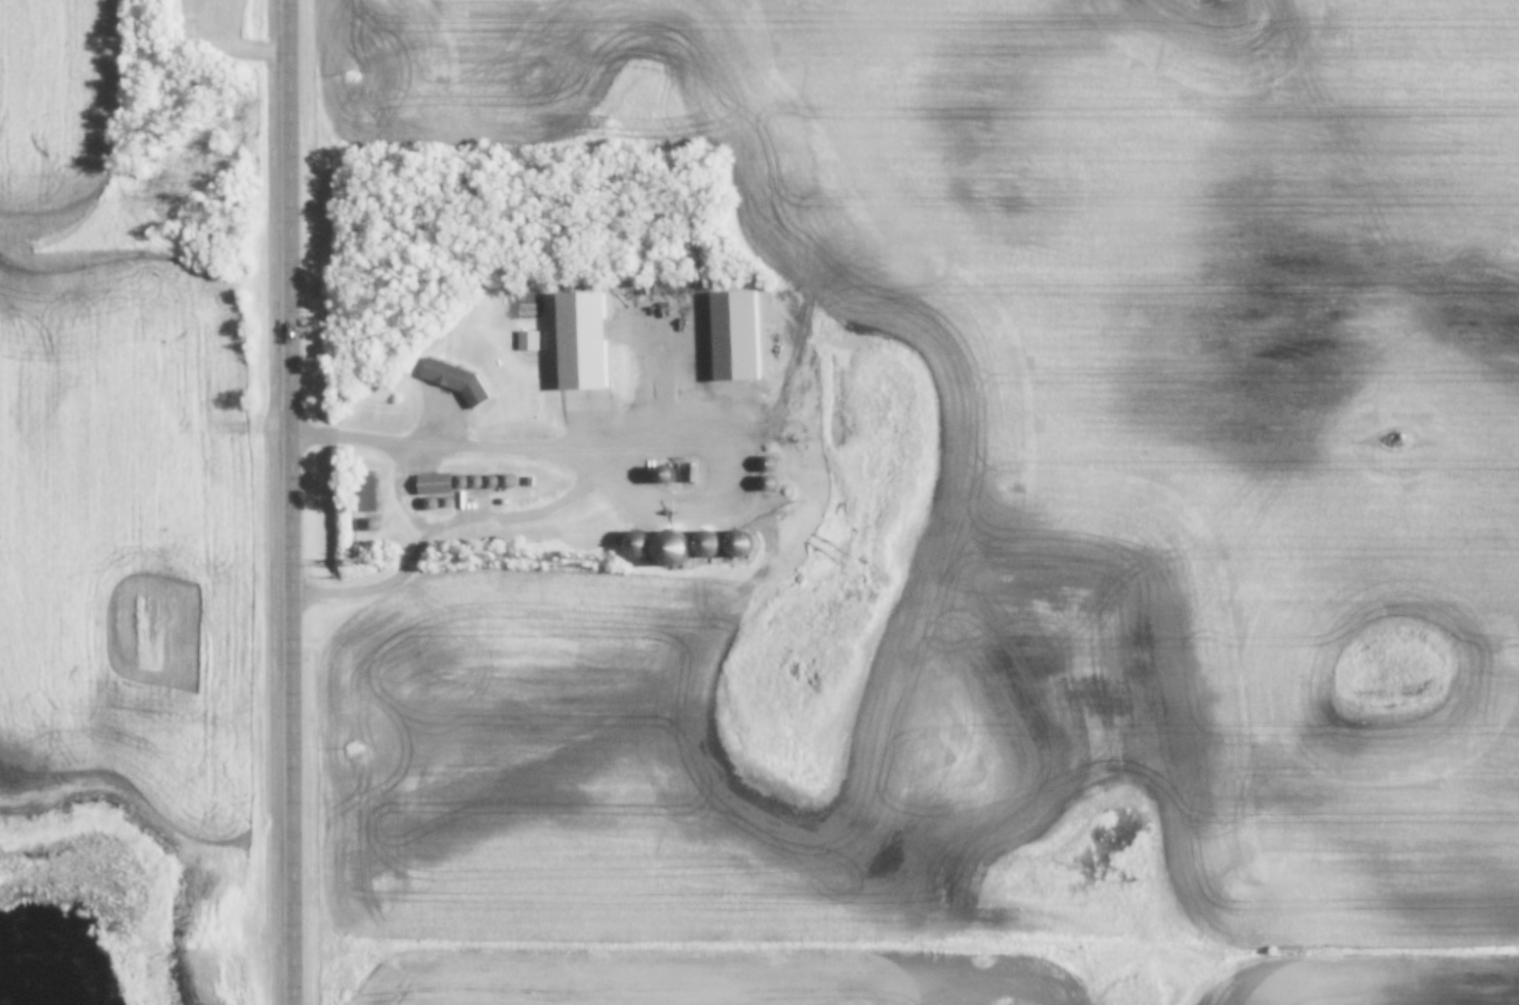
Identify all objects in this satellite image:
building: (735, 334)
building: (532, 341)
building: (590, 347)
building: (463, 382)
road: (377, 446)
building: (438, 485)
road: (301, 502)
building: (376, 525)
building: (716, 544)
building: (748, 544)
building: (649, 550)

